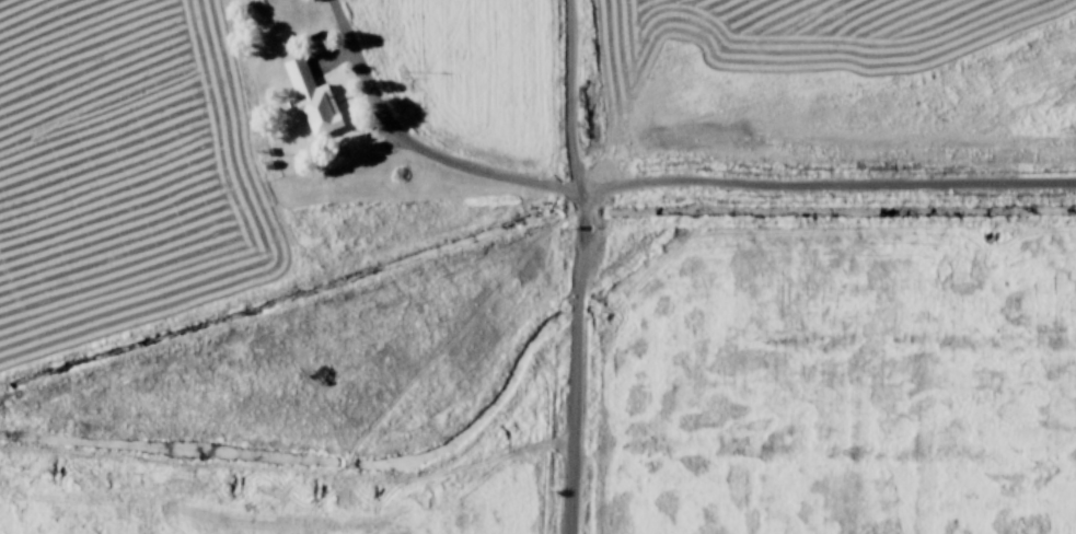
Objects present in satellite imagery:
building: (310, 101)
road: (582, 266)

